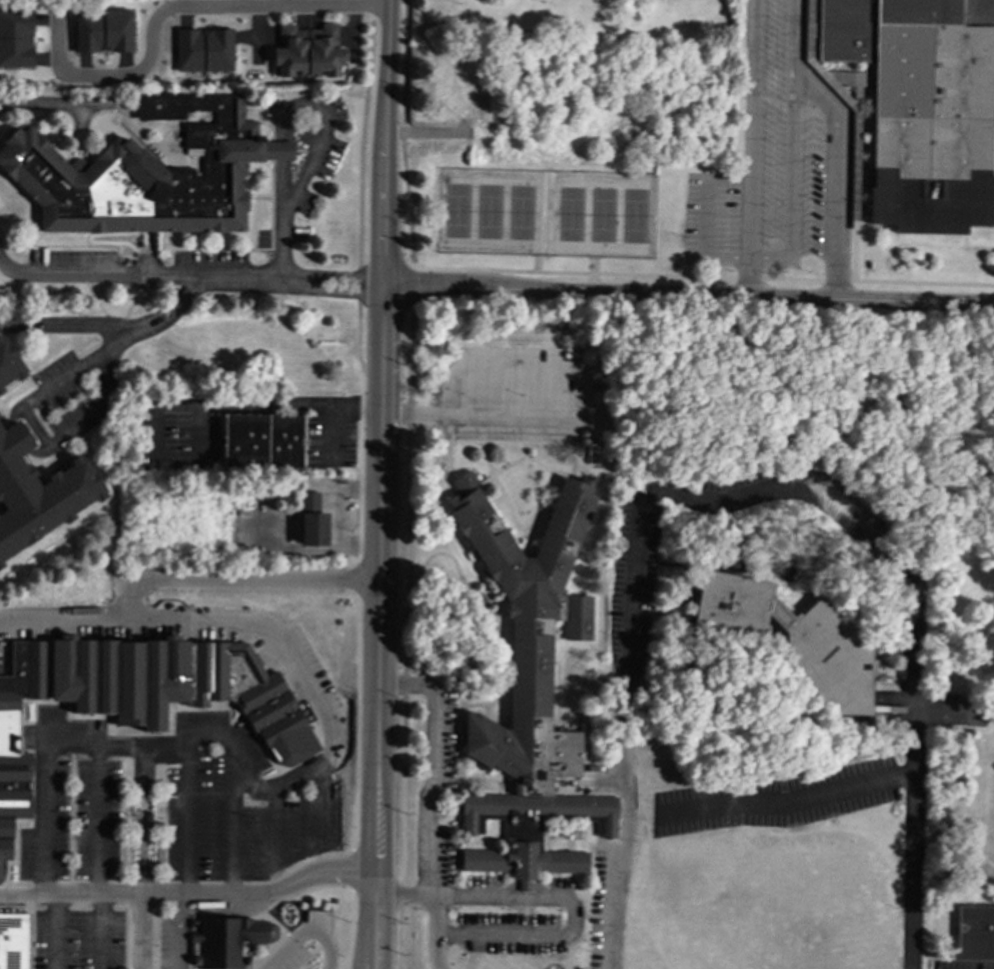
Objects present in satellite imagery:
road: (174, 4)
building: (104, 31)
building: (16, 39)
building: (204, 49)
building: (308, 51)
road: (54, 105)
building: (922, 105)
road: (302, 107)
road: (196, 117)
road: (25, 121)
road: (163, 122)
road: (168, 129)
road: (753, 129)
road: (81, 130)
road: (402, 133)
road: (131, 137)
road: (144, 137)
road: (834, 141)
building: (146, 172)
road: (791, 187)
park: (489, 211)
park: (602, 214)
road: (705, 218)
road: (131, 238)
road: (283, 239)
road: (90, 240)
parking lot: (80, 267)
road: (173, 268)
parking lot: (212, 270)
road: (138, 274)
road: (703, 275)
road: (333, 278)
road: (749, 278)
road: (144, 286)
road: (412, 286)
road: (330, 293)
road: (689, 297)
road: (113, 329)
road: (110, 330)
road: (89, 349)
building: (9, 363)
parking lot: (67, 399)
parking lot: (521, 399)
road: (184, 403)
road: (591, 409)
road: (31, 427)
parking lot: (329, 431)
parking lot: (182, 434)
road: (380, 435)
building: (263, 442)
road: (359, 444)
road: (100, 475)
parking lot: (752, 487)
building: (38, 492)
road: (753, 494)
road: (115, 513)
building: (312, 521)
road: (239, 579)
parking lot: (634, 592)
road: (67, 620)
road: (405, 637)
building: (794, 642)
building: (530, 691)
building: (138, 700)
road: (45, 744)
parking lot: (444, 744)
road: (433, 768)
road: (904, 776)
road: (282, 779)
parking lot: (178, 783)
parking lot: (775, 801)
road: (780, 803)
road: (96, 818)
road: (275, 823)
road: (291, 856)
parking lot: (439, 863)
road: (231, 882)
road: (376, 885)
road: (190, 891)
parking lot: (516, 896)
road: (405, 898)
road: (184, 903)
parking lot: (601, 904)
road: (375, 908)
road: (435, 918)
road: (573, 918)
road: (352, 929)
road: (54, 931)
road: (102, 931)
road: (141, 931)
road: (308, 931)
building: (973, 934)
parking lot: (505, 935)
parking lot: (78, 938)
building: (15, 941)
parking lot: (172, 942)
road: (178, 942)
building: (229, 942)
road: (365, 943)
road: (373, 943)
parking lot: (305, 945)
road: (436, 946)
road: (437, 962)
parking lot: (959, 965)

